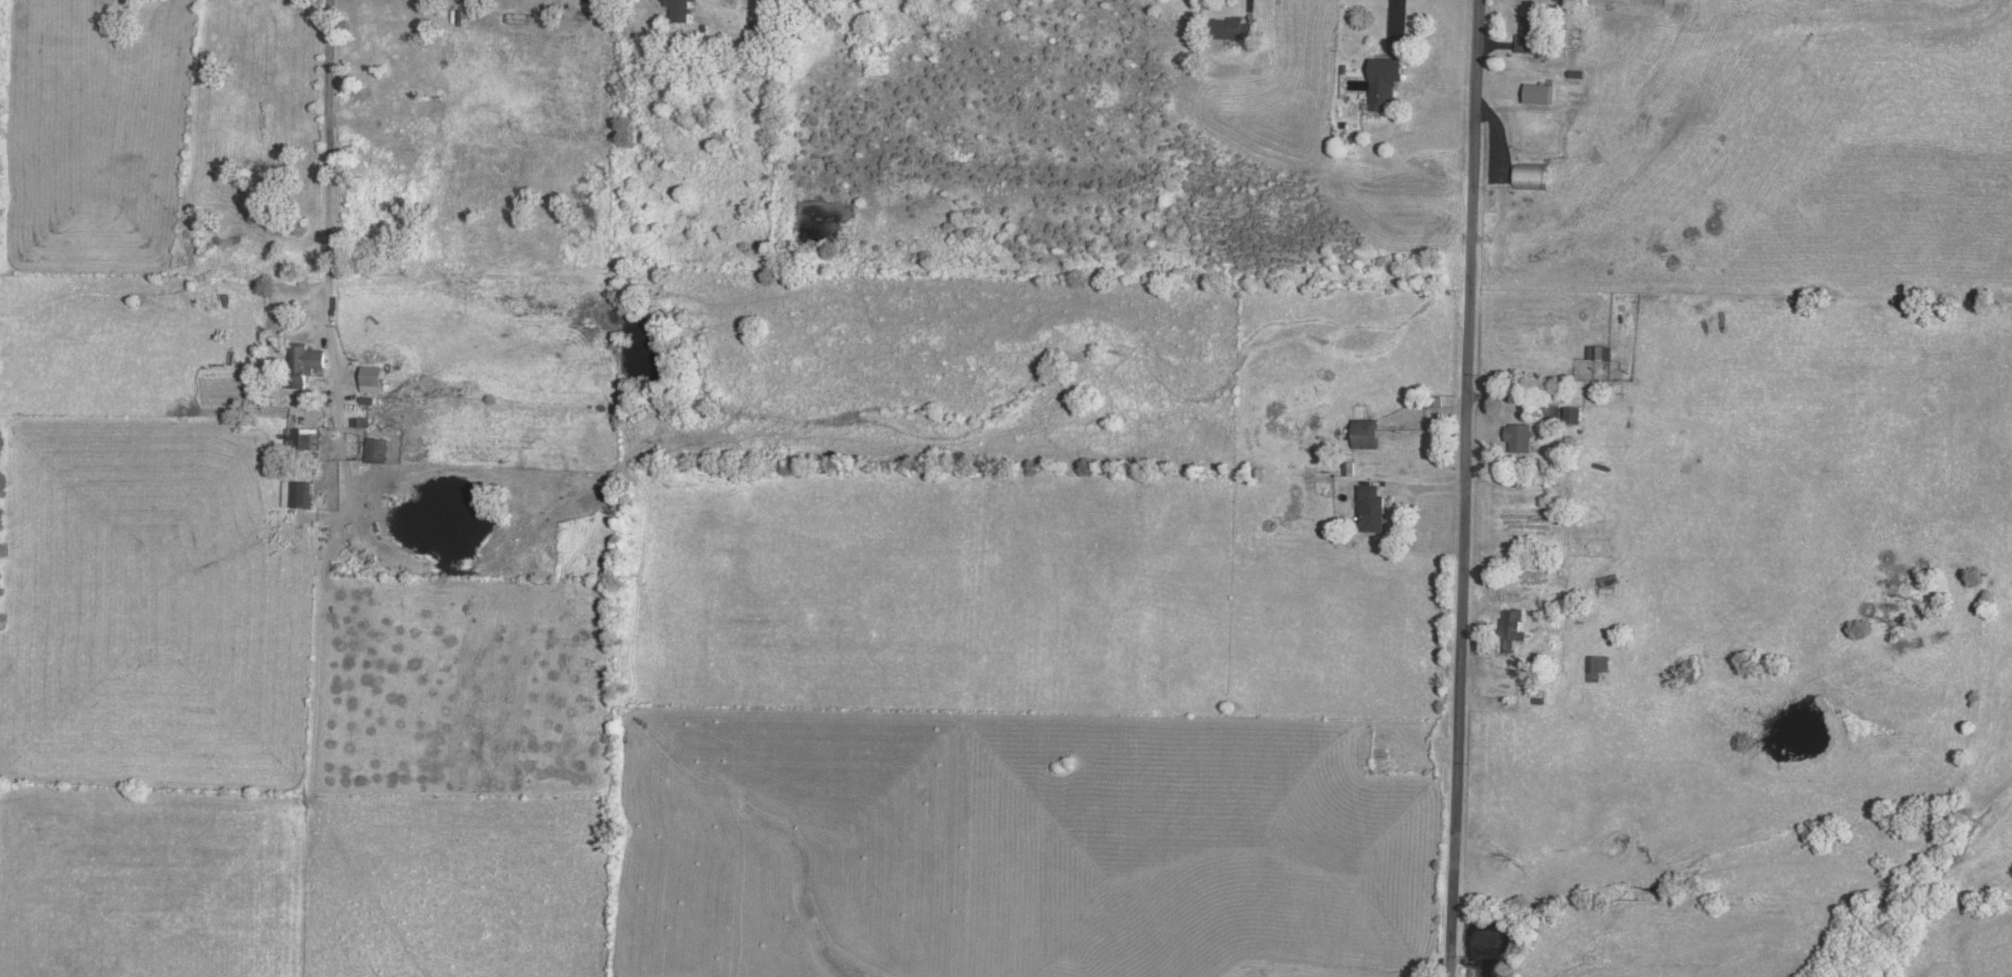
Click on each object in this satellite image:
building: (826, 0)
building: (680, 10)
building: (1231, 28)
building: (1532, 35)
building: (1540, 94)
building: (1531, 176)
road: (326, 198)
building: (1600, 353)
building: (303, 364)
building: (372, 380)
building: (1433, 402)
building: (1573, 416)
building: (1366, 434)
building: (1520, 438)
building: (376, 451)
road: (1466, 488)
building: (297, 495)
building: (1371, 509)
building: (1511, 629)
building: (1597, 668)

